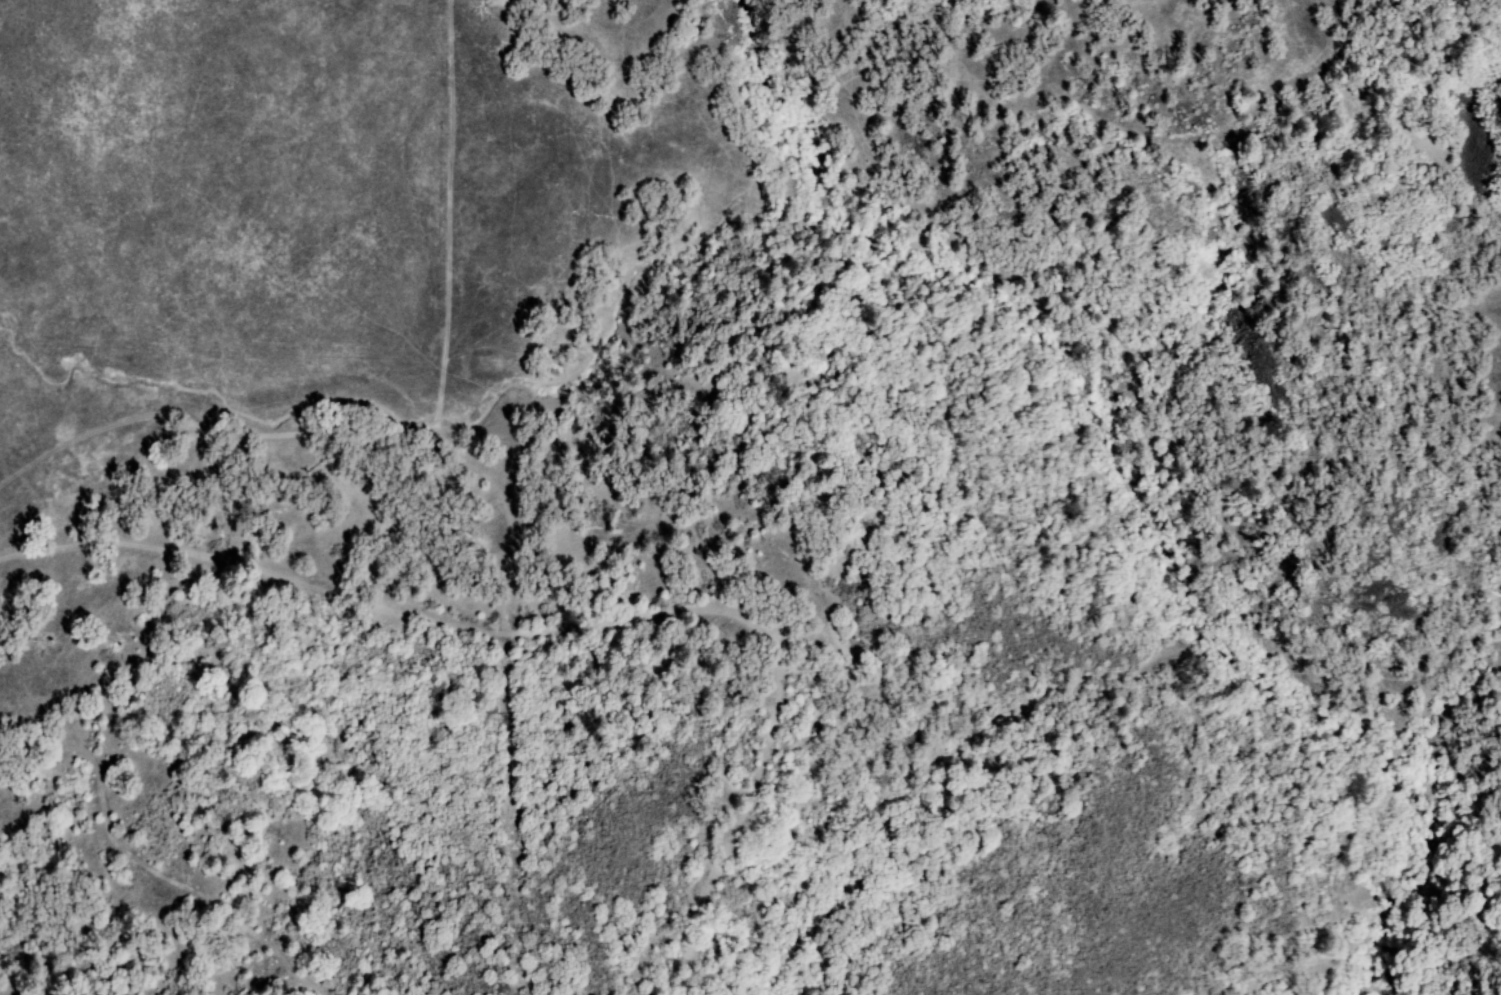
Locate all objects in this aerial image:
road: (13, 556)
road: (584, 628)
road: (139, 864)

